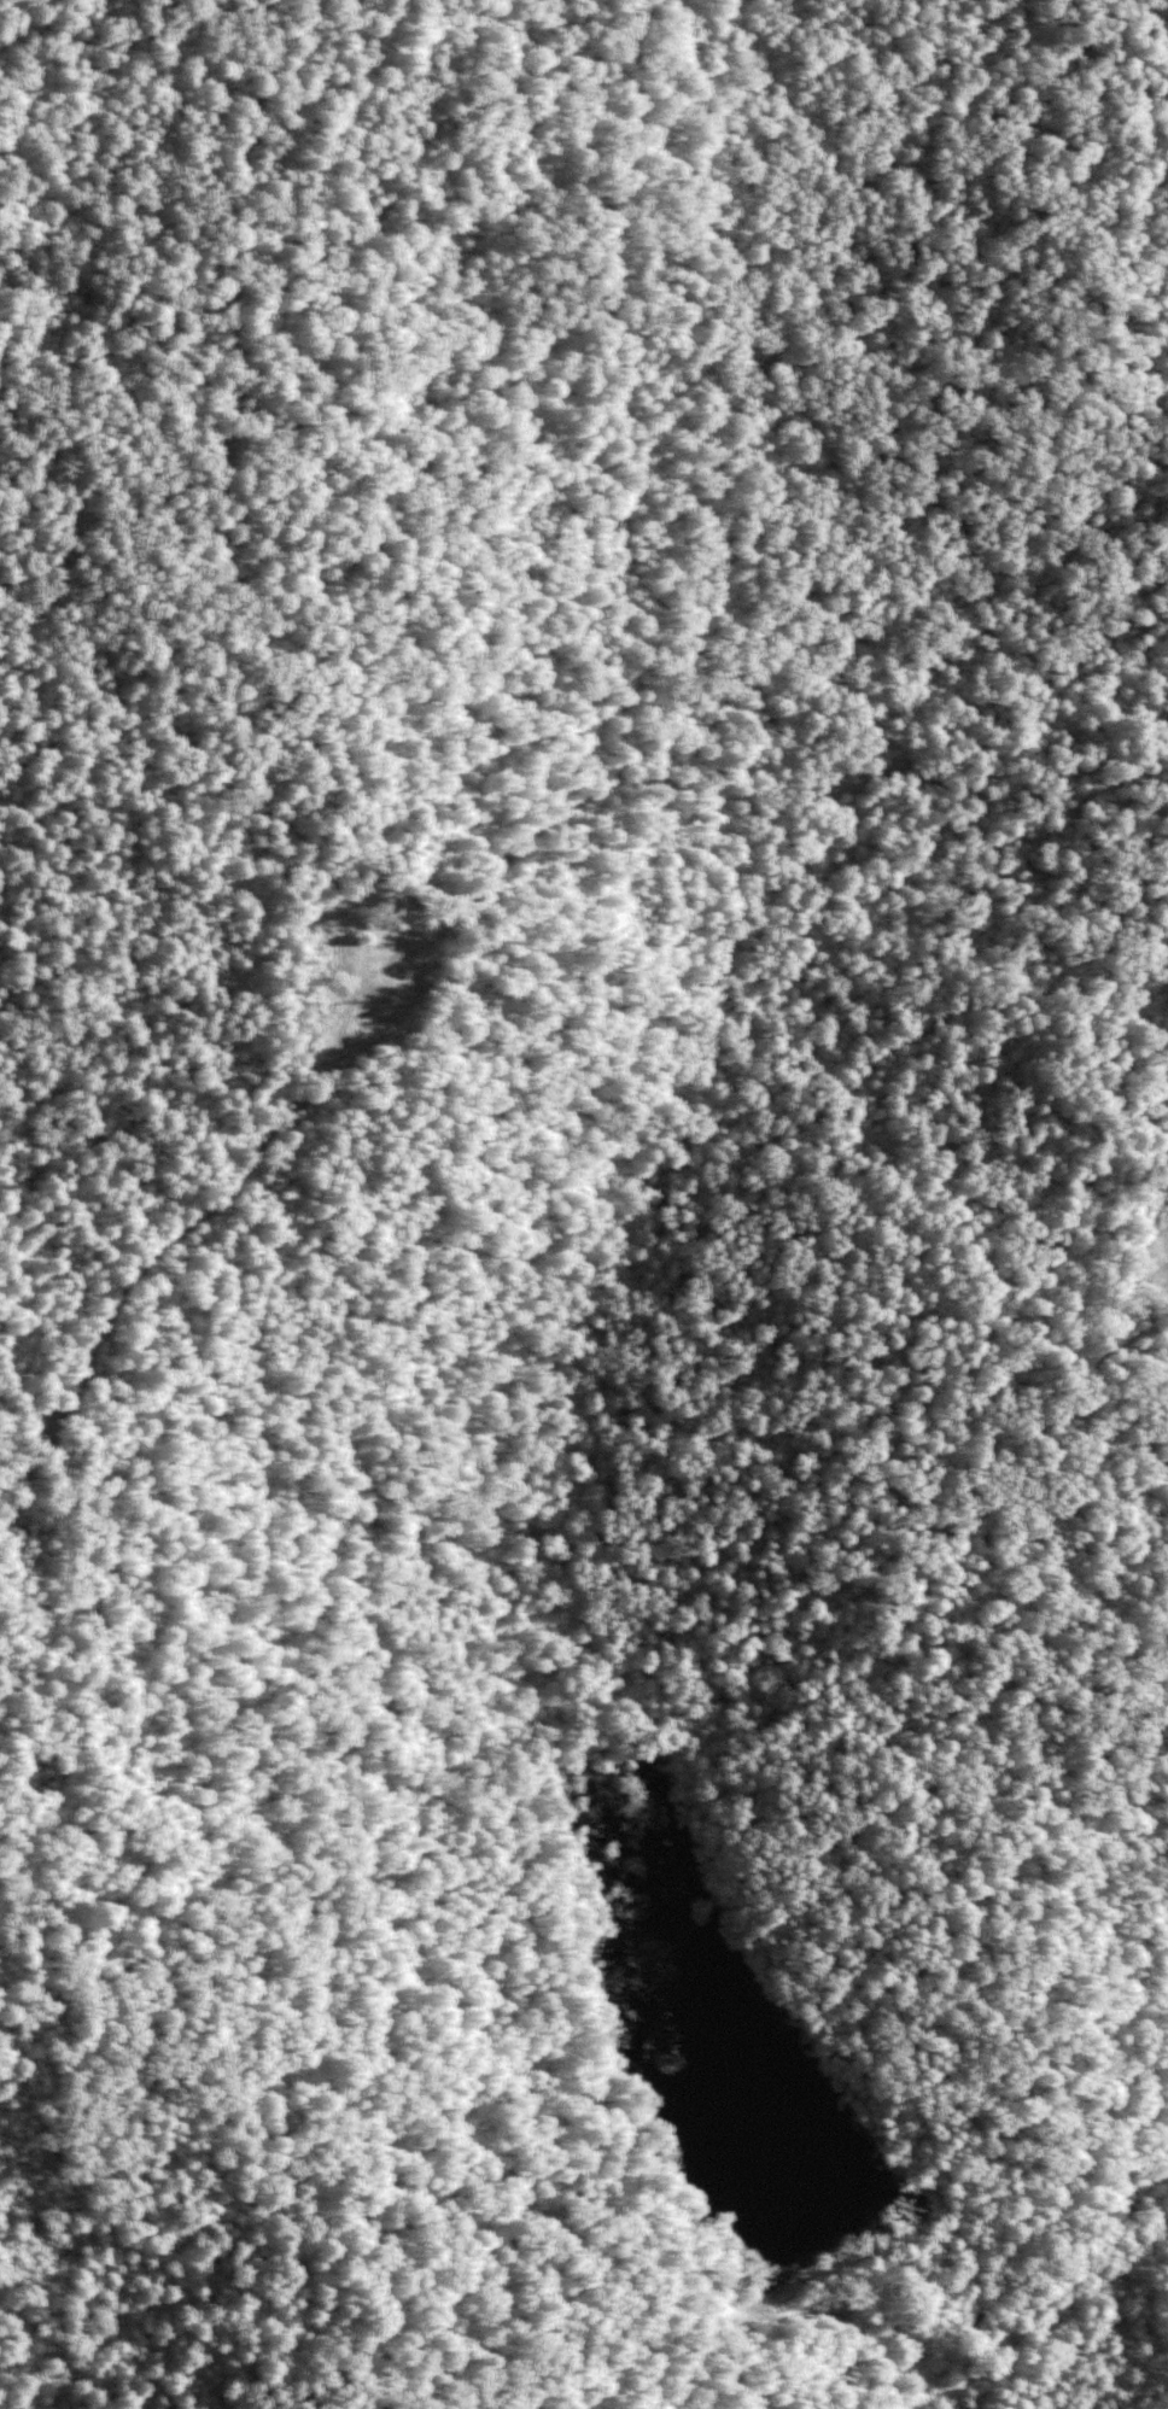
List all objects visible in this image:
road: (974, 2325)

